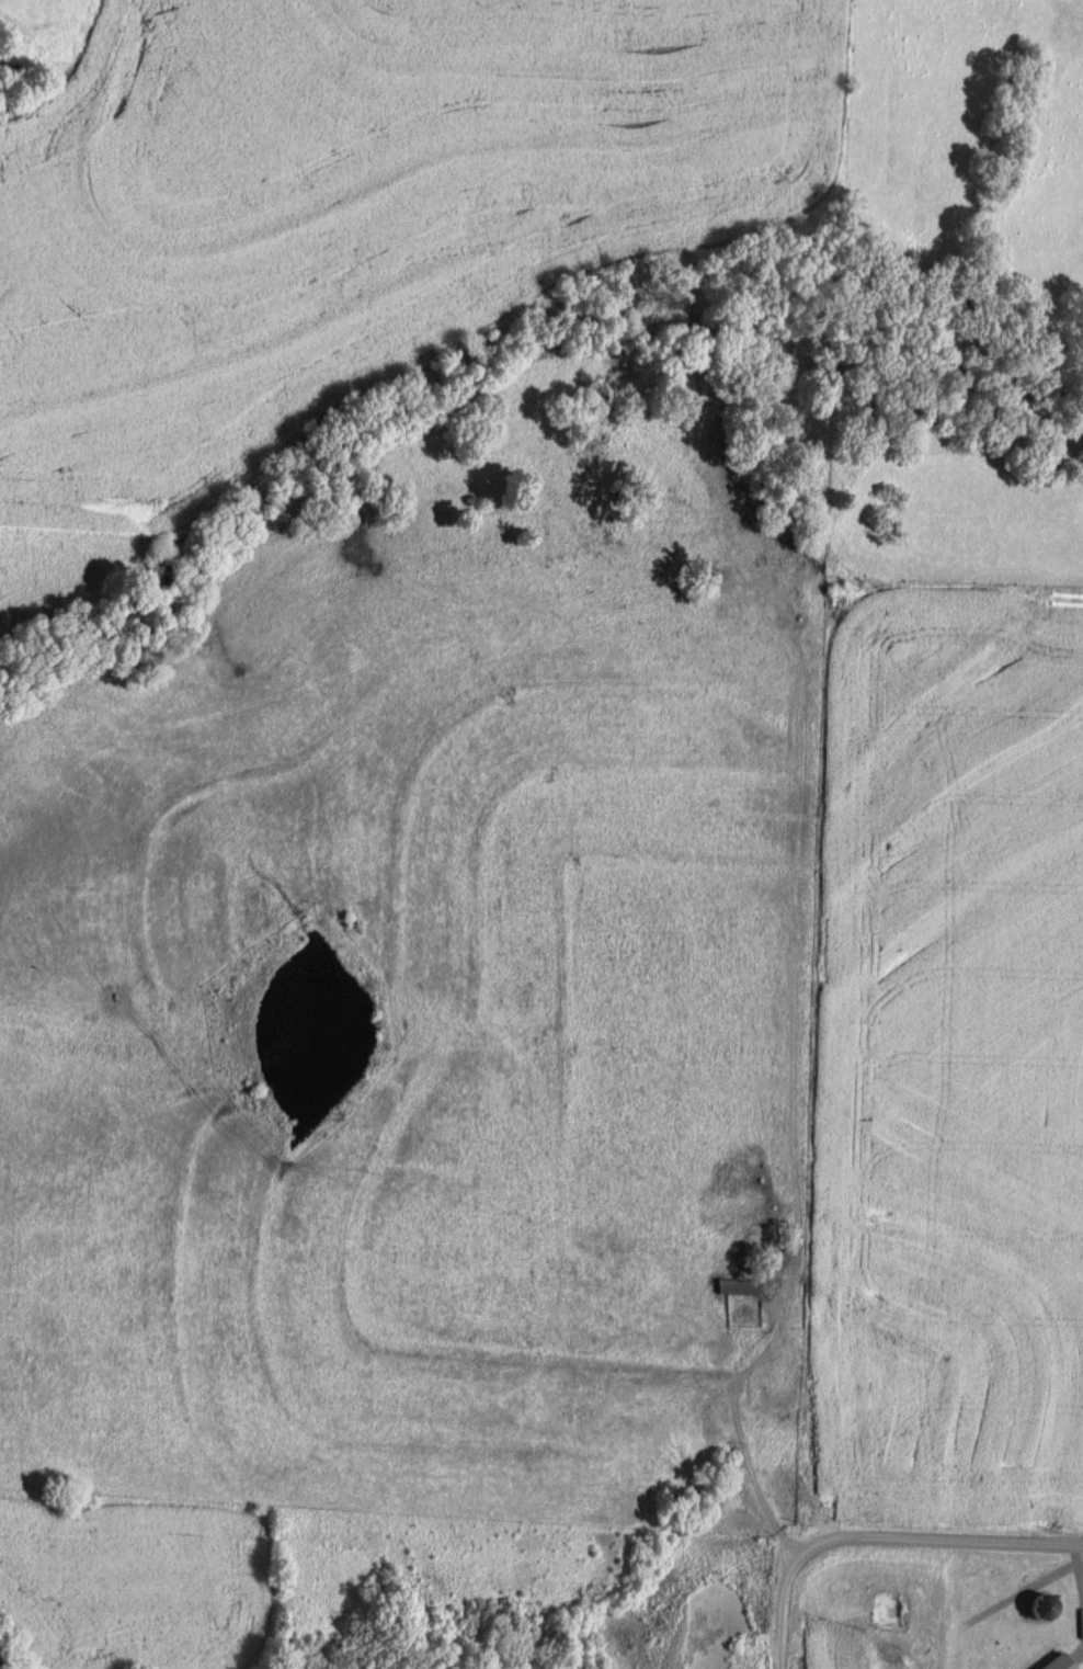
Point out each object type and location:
crop: (945, 1061)
road: (880, 1537)
road: (949, 1547)

